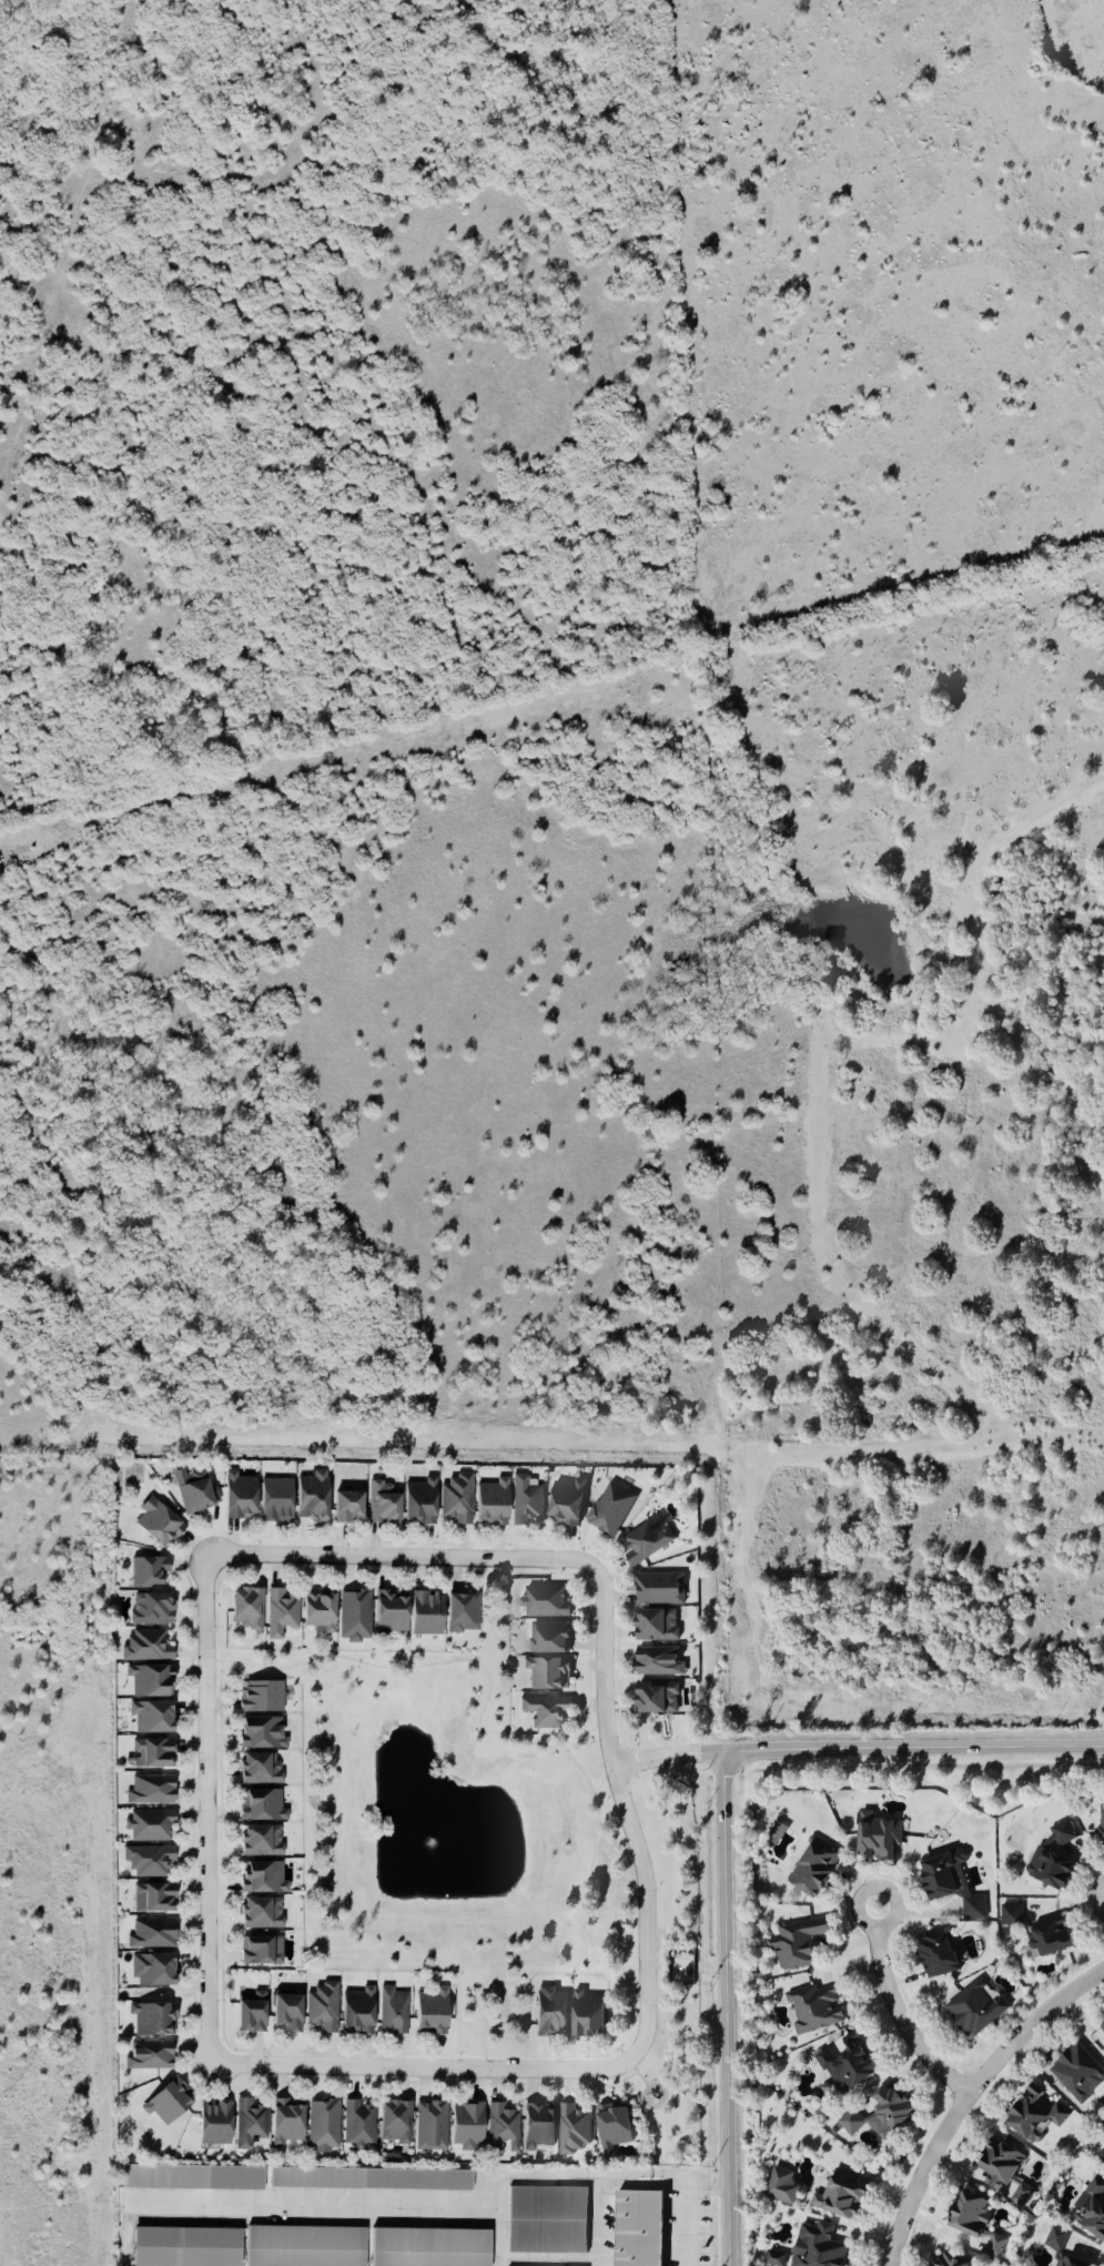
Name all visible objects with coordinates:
railway: (1055, 23)
building: (195, 1495)
building: (236, 1496)
building: (310, 1497)
building: (454, 1499)
building: (273, 1500)
building: (524, 1501)
building: (381, 1503)
building: (417, 1503)
building: (489, 1504)
building: (565, 1504)
building: (344, 1507)
building: (610, 1509)
building: (155, 1523)
building: (645, 1542)
road: (403, 1557)
building: (148, 1571)
building: (659, 1589)
building: (544, 1601)
building: (151, 1609)
building: (244, 1609)
building: (315, 1610)
building: (387, 1610)
road: (497, 1611)
building: (459, 1612)
building: (278, 1613)
building: (424, 1613)
building: (353, 1615)
building: (655, 1625)
building: (547, 1637)
building: (145, 1646)
building: (657, 1661)
building: (546, 1673)
building: (148, 1681)
building: (259, 1698)
building: (656, 1698)
building: (544, 1712)
building: (150, 1718)
building: (260, 1732)
road: (555, 1749)
road: (913, 1750)
building: (152, 1752)
road: (668, 1758)
building: (259, 1769)
building: (150, 1790)
building: (260, 1805)
road: (207, 1810)
road: (626, 1811)
building: (149, 1824)
building: (1101, 1827)
building: (875, 1837)
building: (259, 1841)
fountain: (438, 1841)
building: (145, 1860)
building: (812, 1869)
building: (1047, 1870)
building: (939, 1874)
building: (261, 1878)
building: (152, 1896)
building: (972, 1909)
building: (259, 1913)
building: (1011, 1915)
building: (150, 1934)
building: (1045, 1936)
building: (796, 1943)
building: (260, 1950)
building: (935, 1956)
building: (150, 1970)
building: (321, 2007)
road: (726, 2009)
building: (973, 2009)
building: (812, 2010)
building: (355, 2012)
building: (392, 2012)
building: (428, 2012)
building: (250, 2013)
building: (284, 2013)
building: (548, 2014)
road: (899, 2014)
building: (585, 2015)
building: (151, 2020)
building: (1102, 2025)
building: (148, 2055)
building: (845, 2064)
road: (424, 2067)
building: (1076, 2073)
road: (969, 2098)
building: (165, 2103)
building: (887, 2112)
building: (1033, 2114)
building: (284, 2121)
building: (393, 2121)
building: (249, 2122)
building: (851, 2122)
building: (212, 2123)
building: (357, 2123)
building: (322, 2124)
building: (429, 2125)
building: (465, 2126)
building: (535, 2126)
building: (499, 2127)
building: (611, 2127)
building: (573, 2128)
building: (1102, 2157)
building: (1103, 2162)
building: (996, 2165)
building: (189, 2177)
road: (569, 2177)
building: (367, 2178)
building: (781, 2187)
building: (839, 2195)
building: (1091, 2212)
building: (965, 2214)
road: (683, 2219)
building: (544, 2221)
road: (596, 2222)
building: (635, 2228)
building: (1054, 2238)
building: (302, 2246)
building: (814, 2246)
building: (182, 2247)
building: (426, 2247)
building: (774, 2258)
building: (948, 2260)
building: (1071, 2262)

